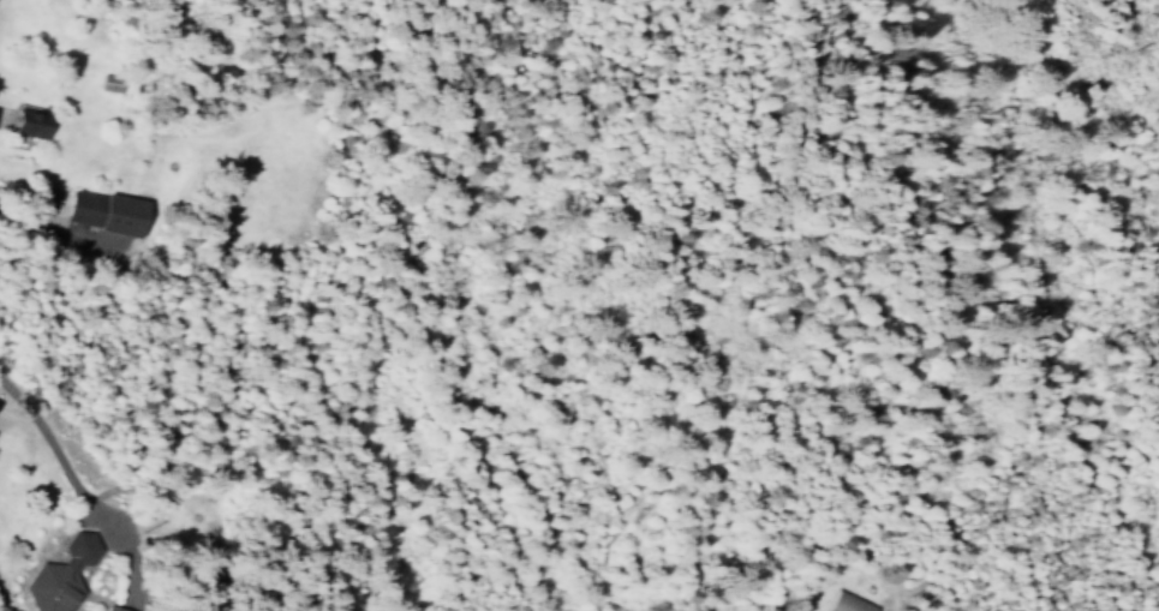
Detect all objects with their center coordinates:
building: (109, 82)
building: (30, 119)
building: (85, 204)
road: (25, 216)
road: (58, 450)
building: (60, 570)
building: (118, 606)

